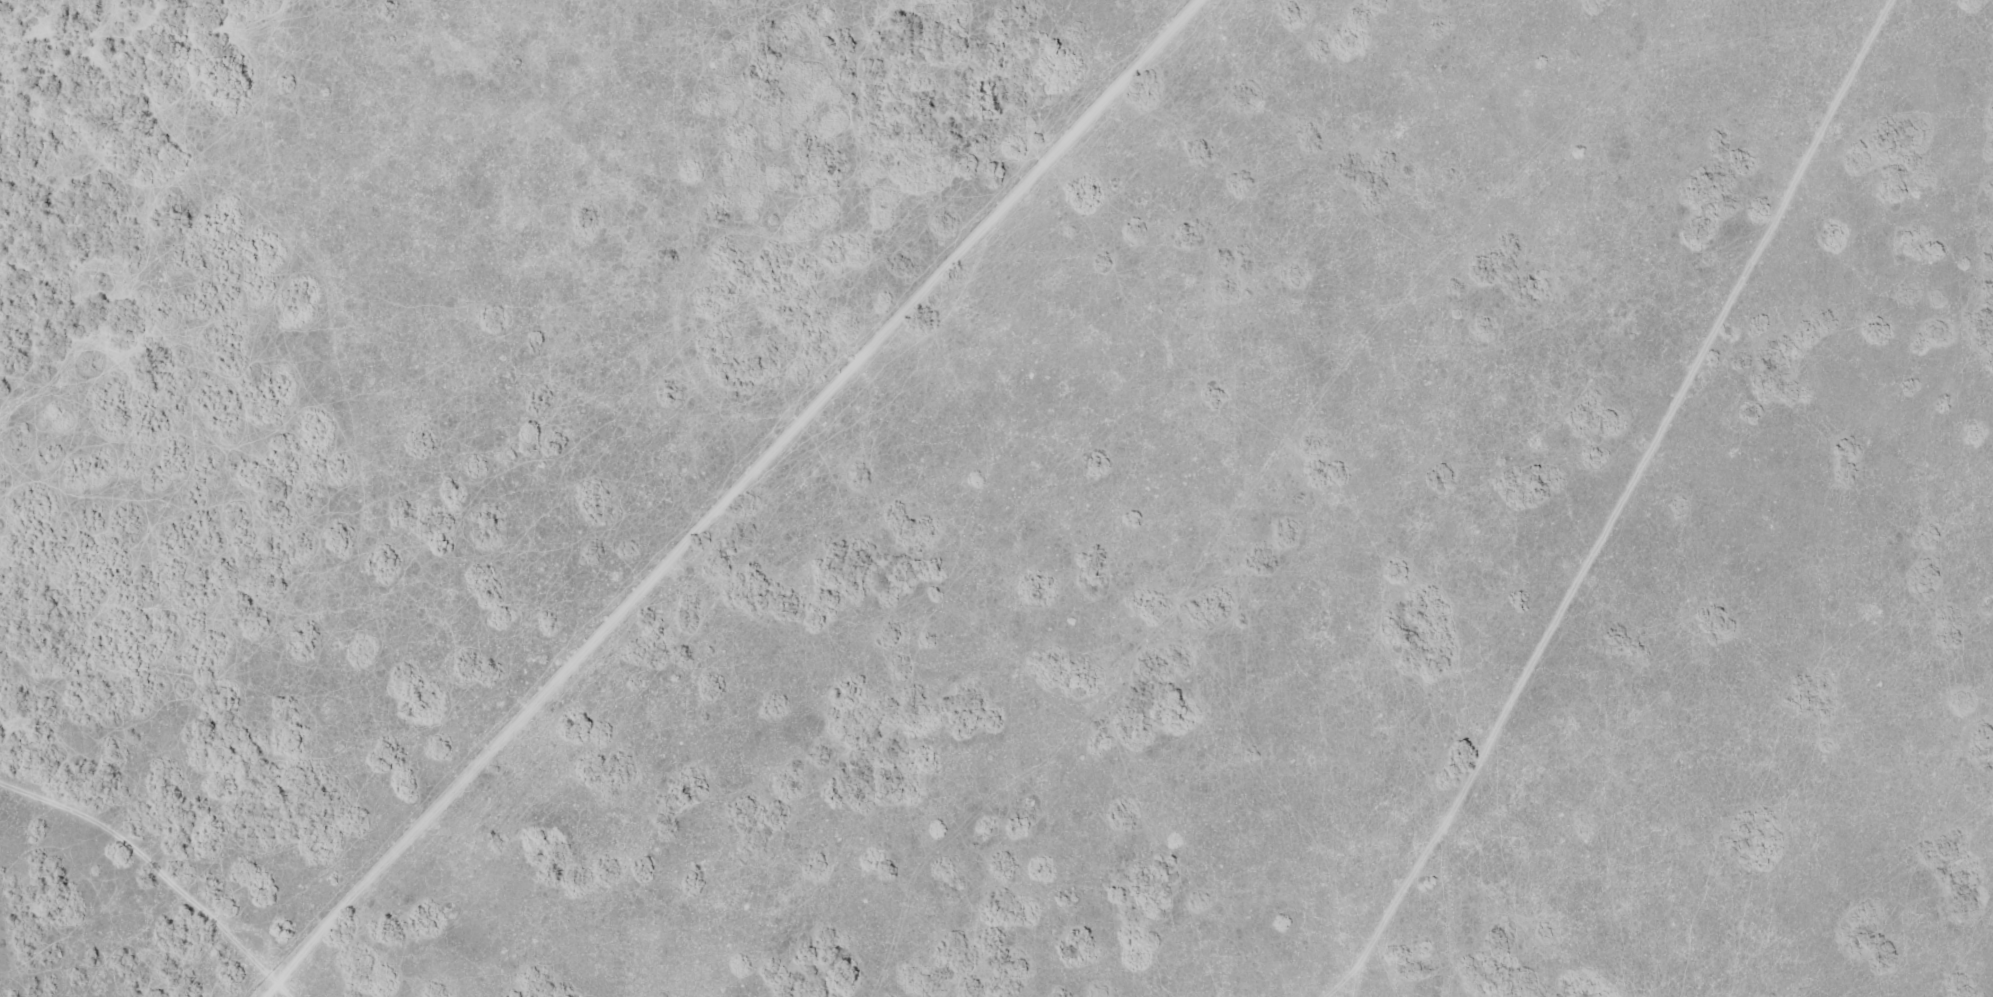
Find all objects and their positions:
road: (261, 279)
road: (1622, 503)
road: (98, 804)
road: (655, 905)
road: (1465, 929)
road: (236, 933)

